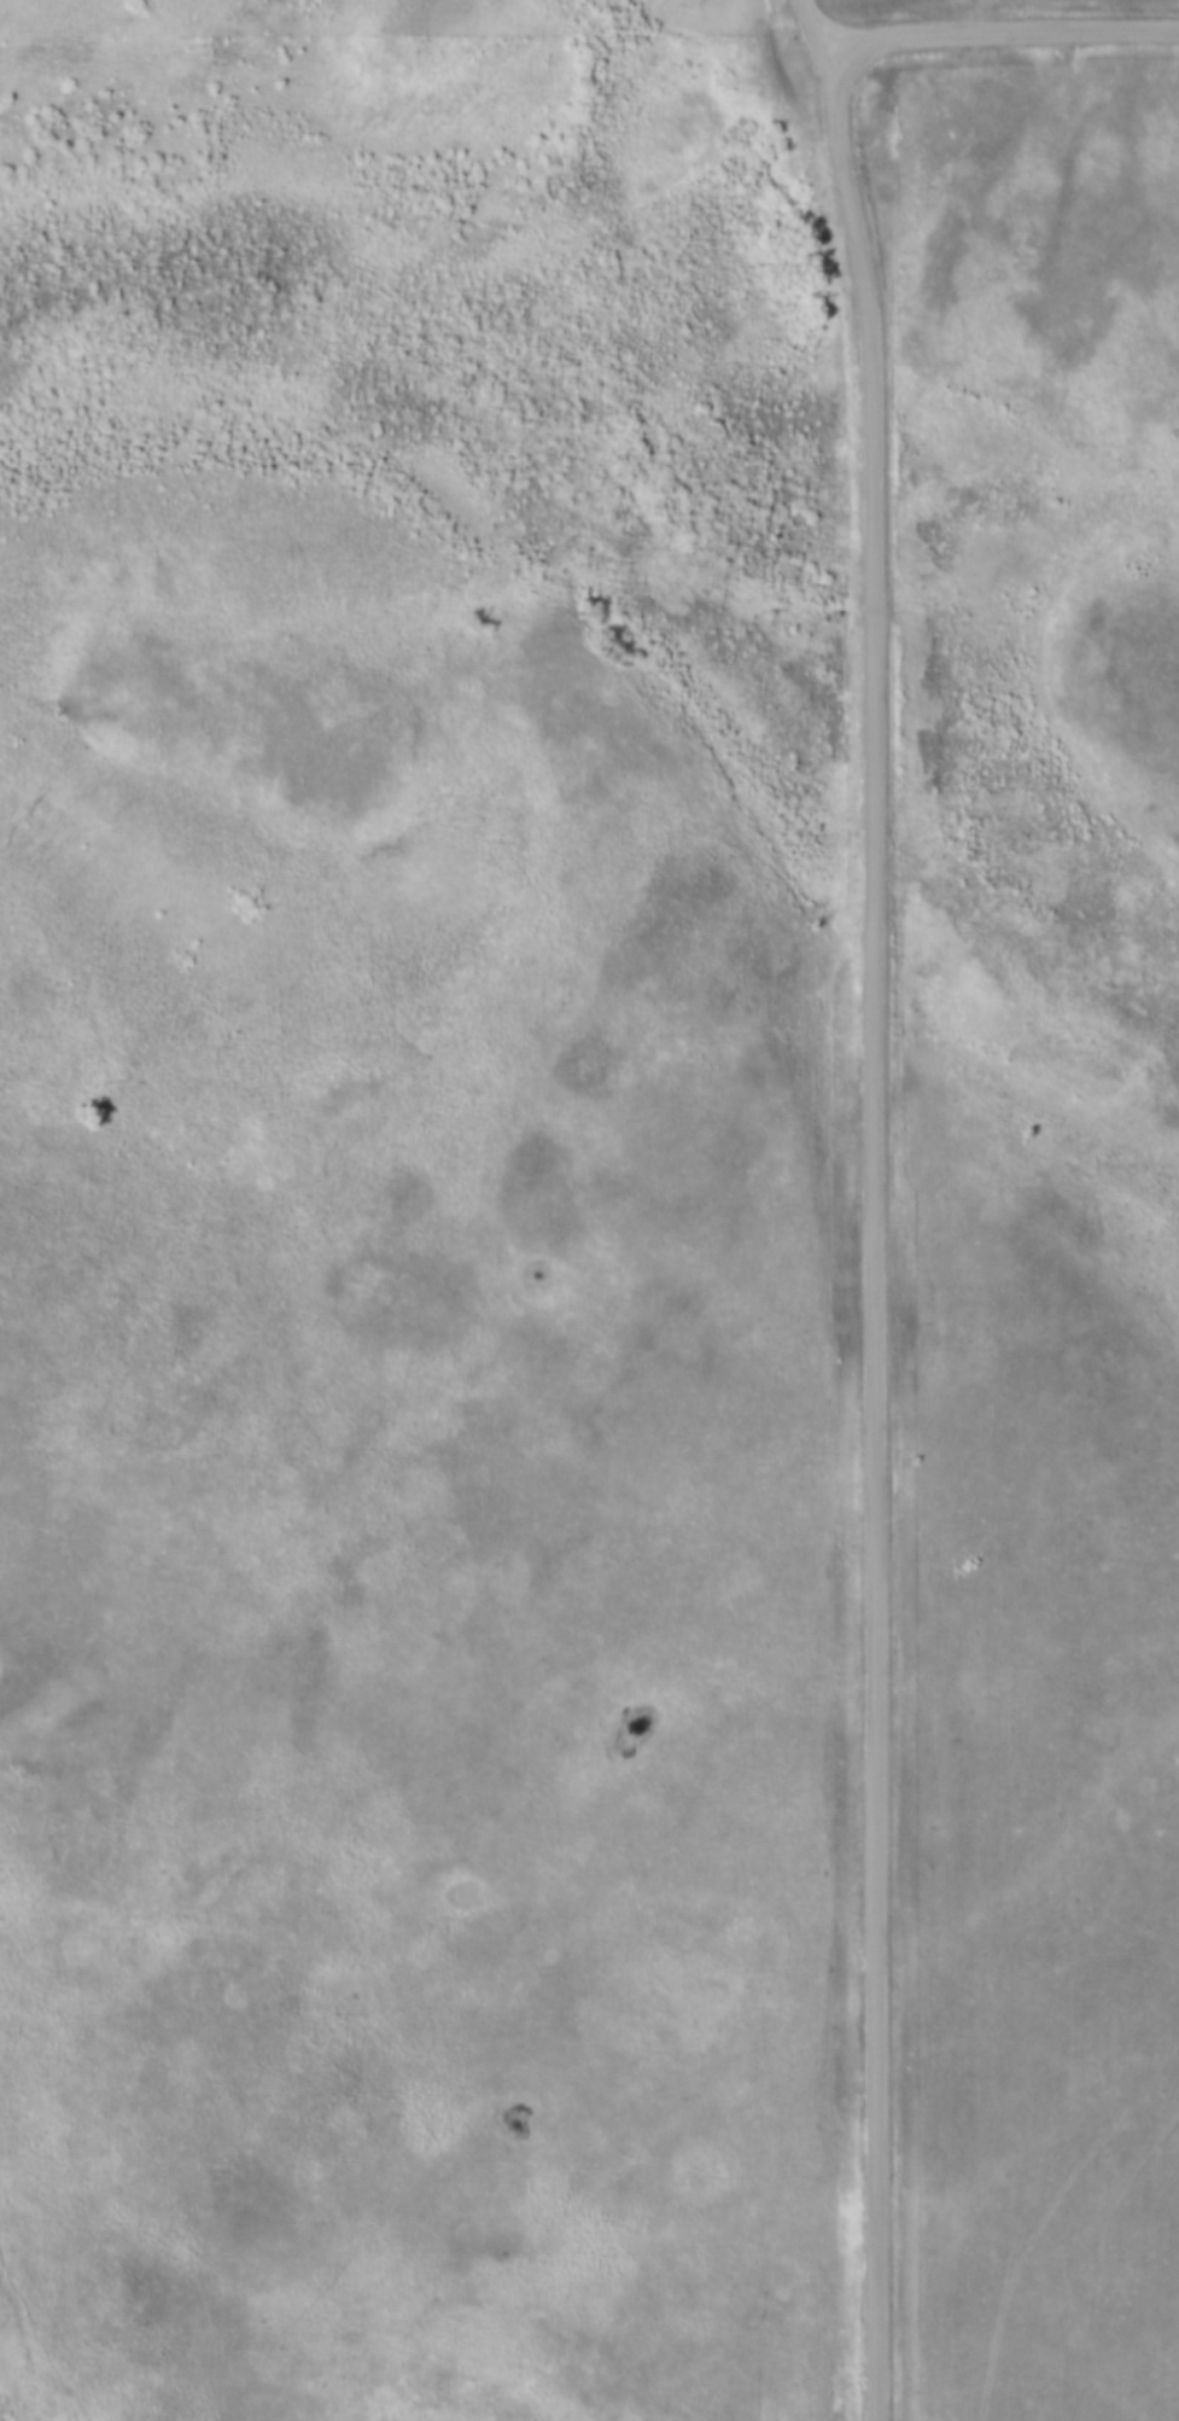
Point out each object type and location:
road: (997, 23)
road: (876, 1206)

